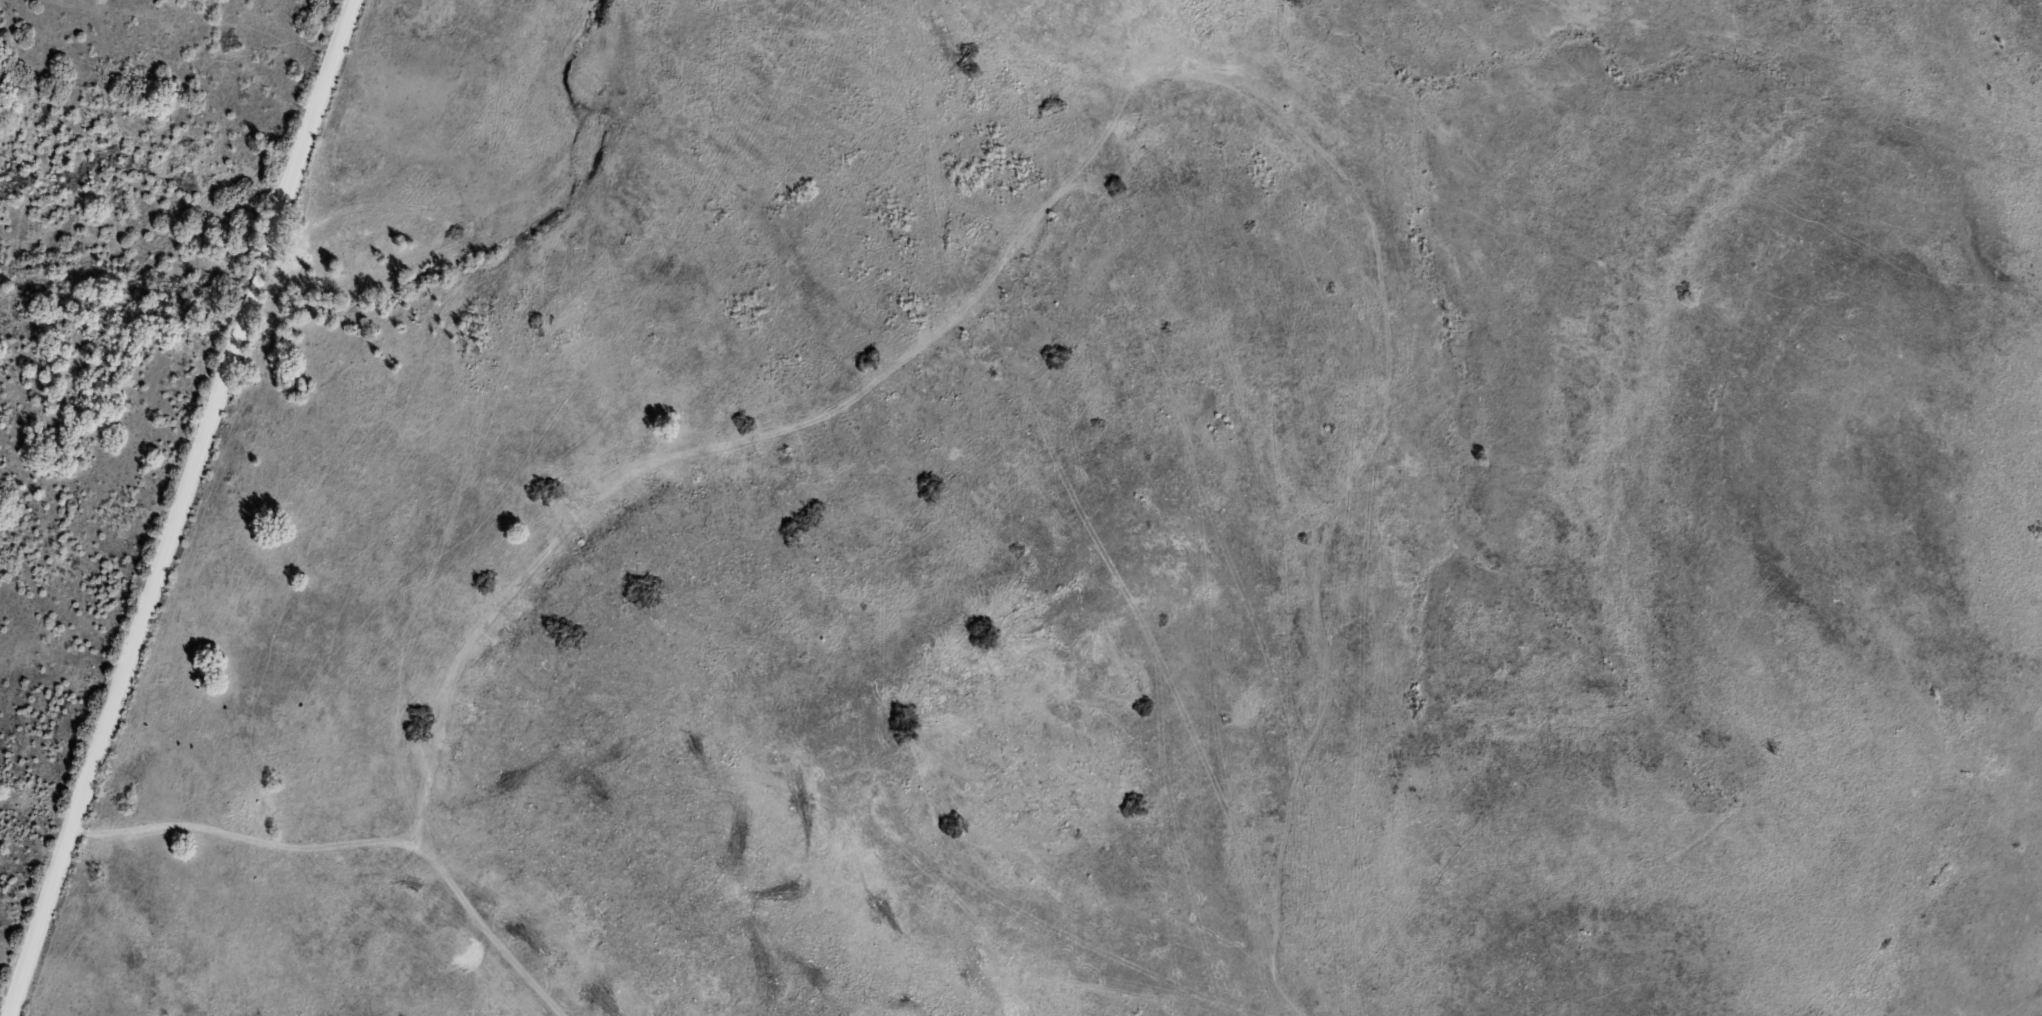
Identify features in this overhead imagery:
road: (174, 506)
road: (393, 848)
road: (1582, 871)

